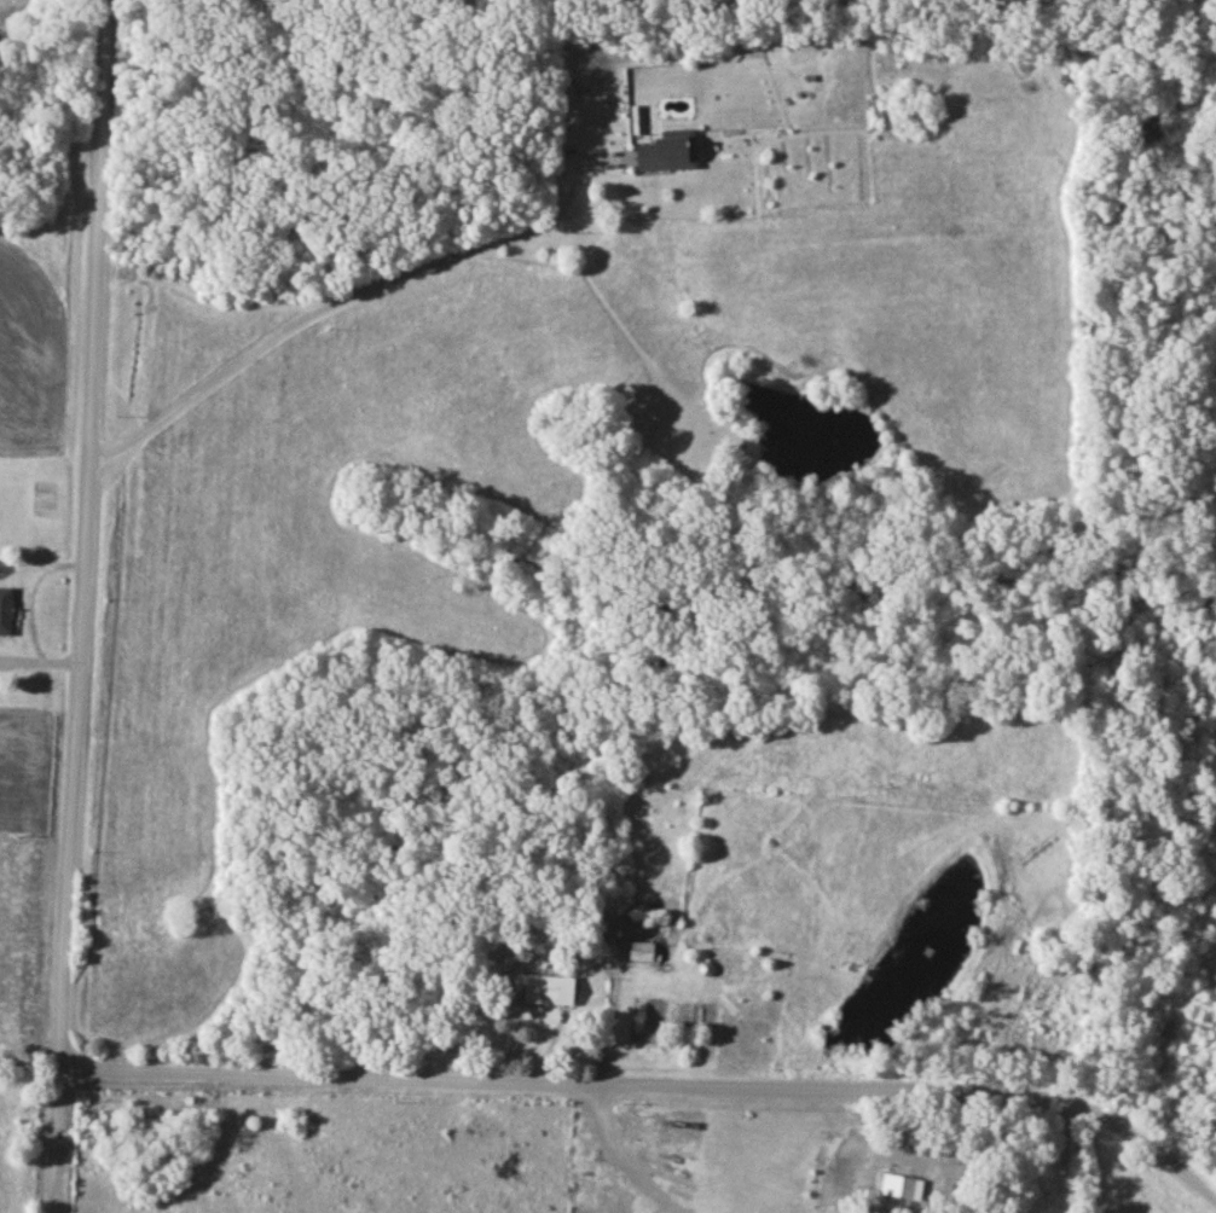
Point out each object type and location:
building: (662, 151)
road: (338, 298)
road: (81, 606)
building: (8, 613)
building: (637, 952)
building: (544, 991)
road: (29, 1049)
road: (652, 1085)
road: (621, 1159)
building: (893, 1183)

